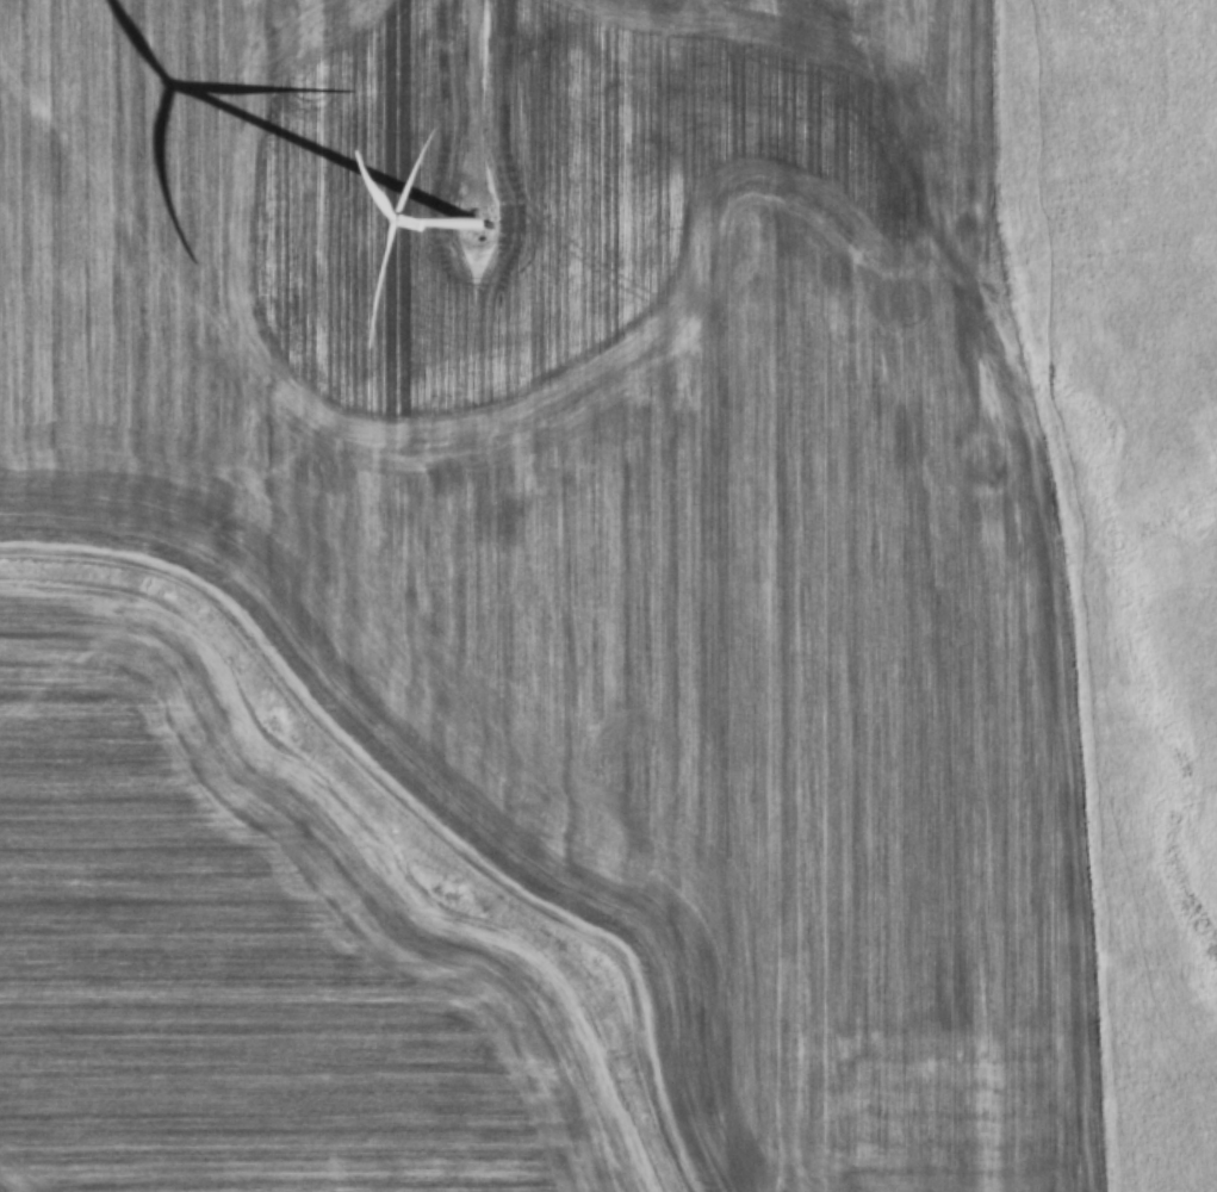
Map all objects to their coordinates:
wind turbine: (479, 229)

